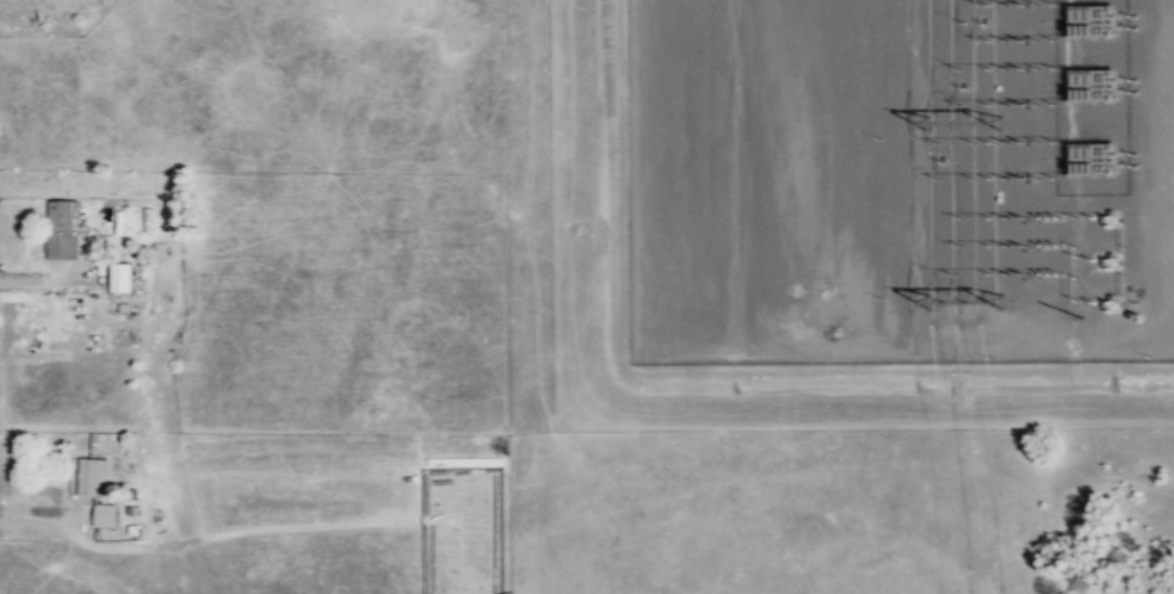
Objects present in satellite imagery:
power substation: (895, 188)
building: (62, 228)
building: (122, 277)
building: (93, 476)
building: (105, 514)

